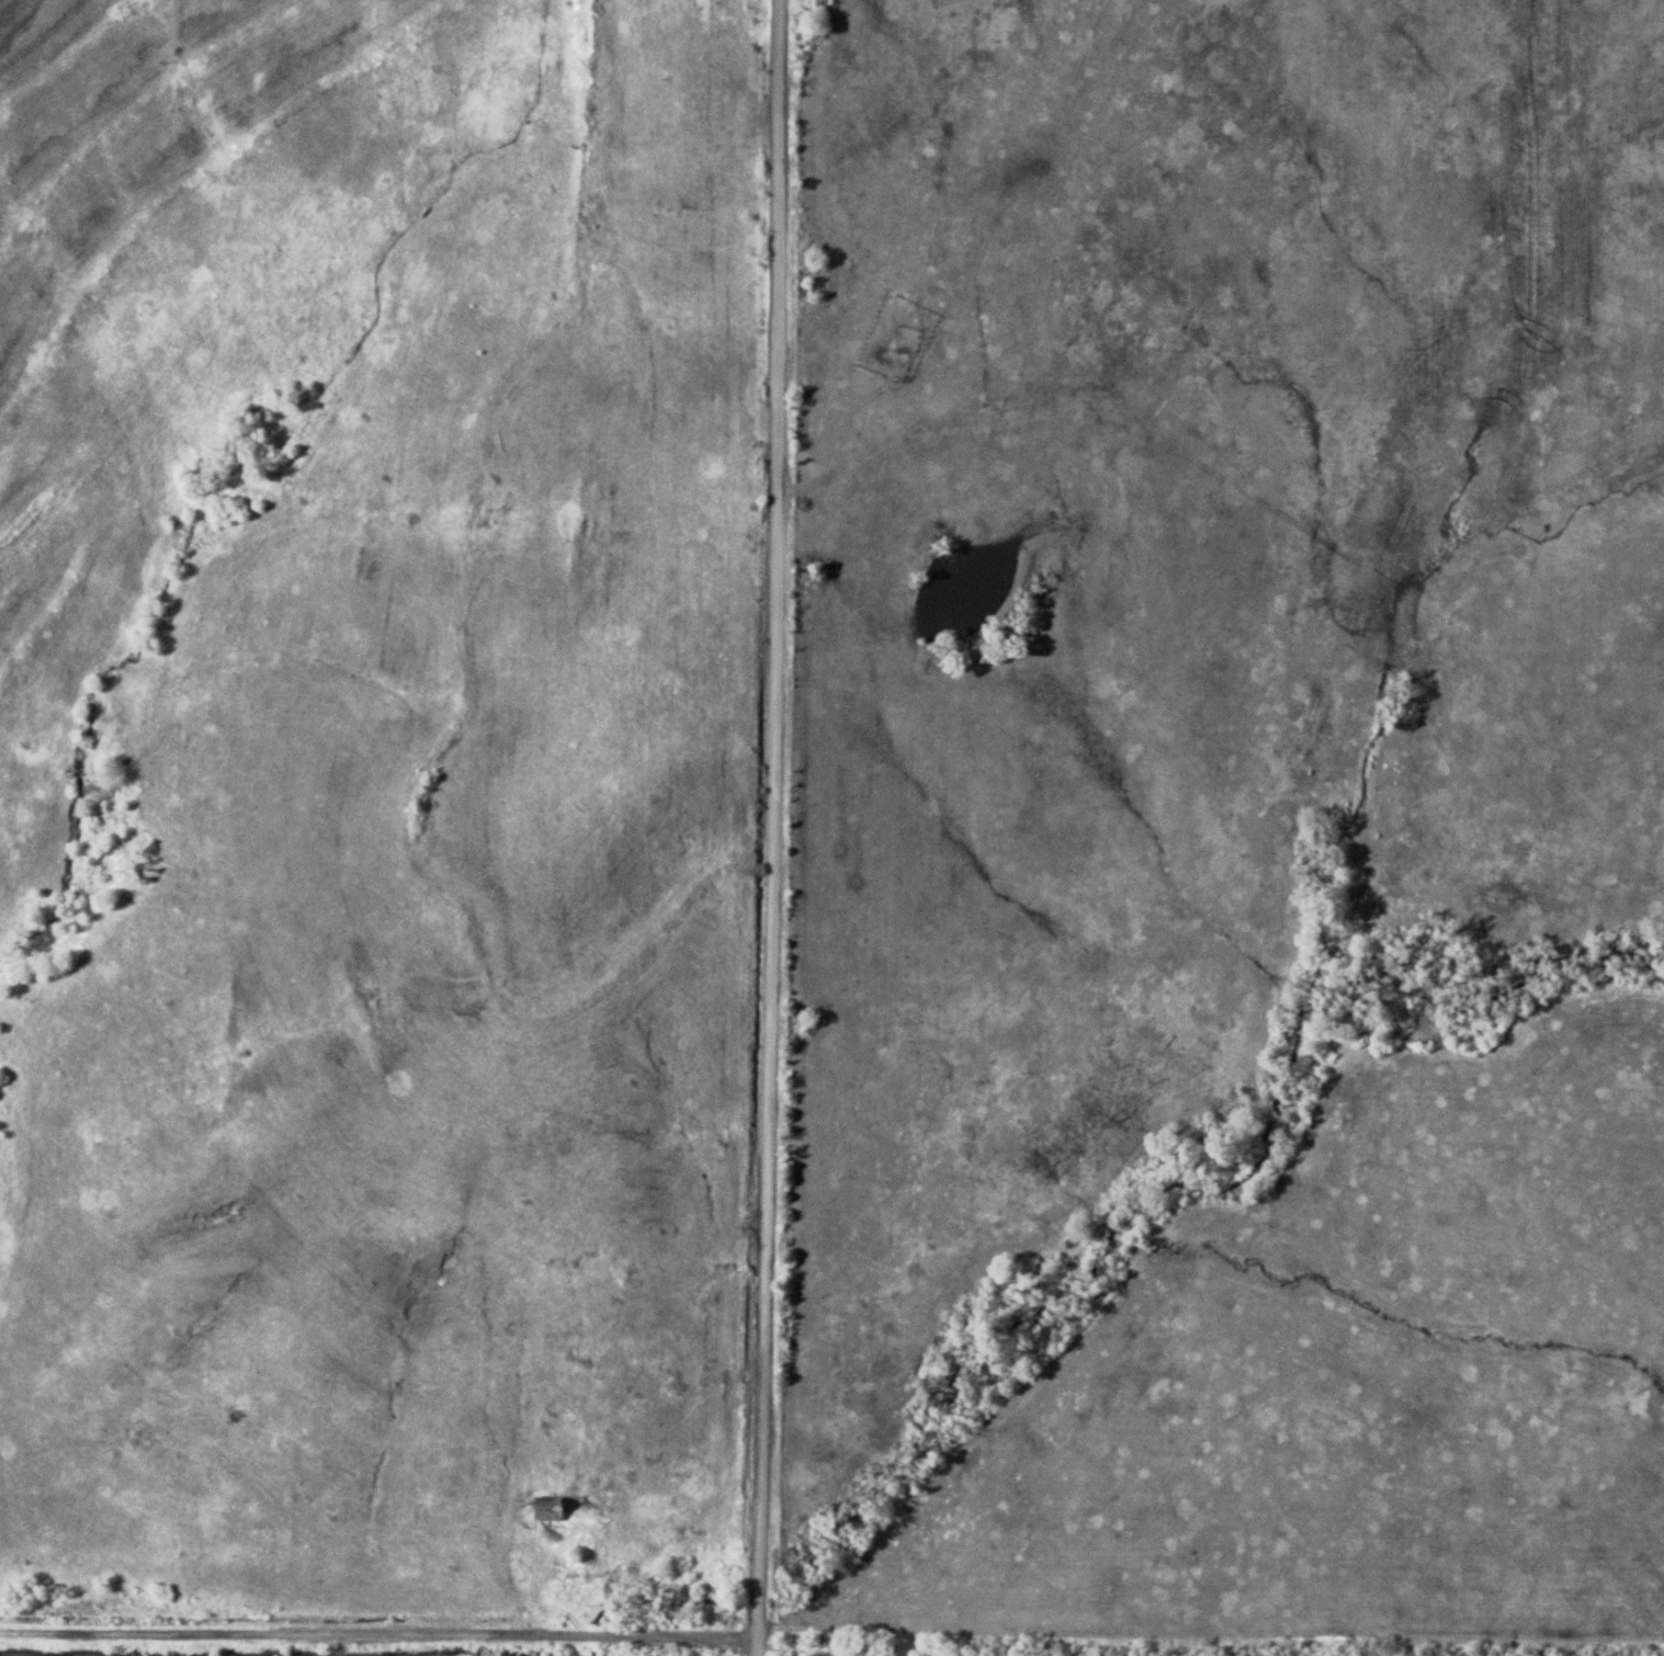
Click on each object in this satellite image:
road: (766, 827)
road: (377, 1629)

